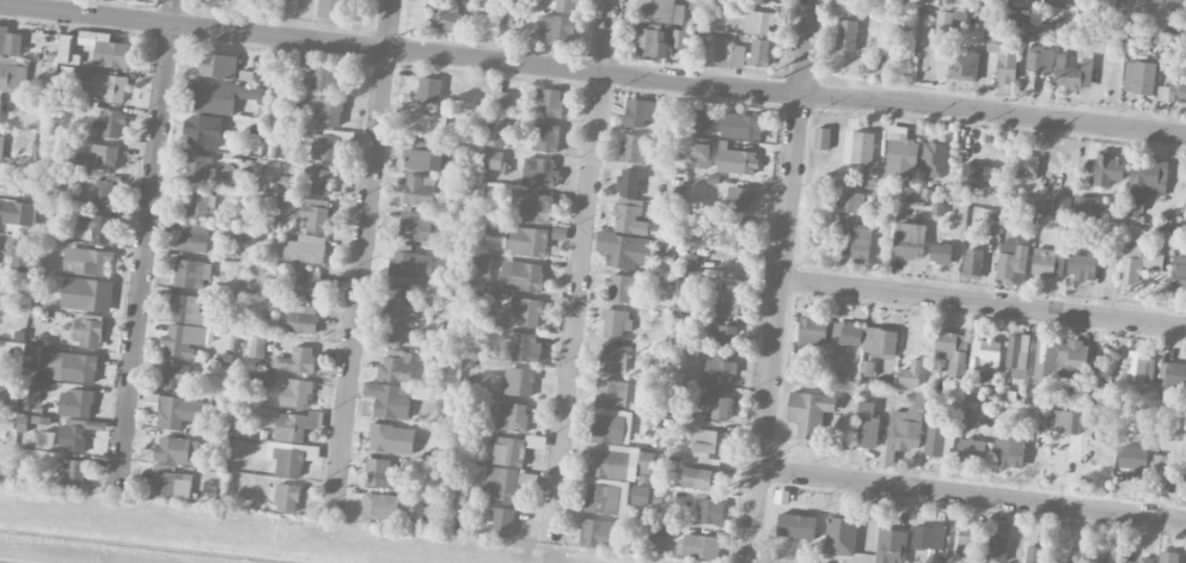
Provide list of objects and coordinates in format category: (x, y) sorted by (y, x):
building: (1170, 0)
building: (228, 1)
power tower: (153, 6)
building: (566, 6)
building: (331, 10)
building: (660, 11)
building: (447, 17)
building: (943, 22)
building: (758, 23)
building: (558, 30)
building: (1035, 30)
power tower: (402, 33)
building: (846, 36)
building: (10, 42)
building: (652, 43)
road: (806, 48)
road: (401, 49)
building: (67, 50)
building: (106, 50)
building: (758, 53)
power tower: (587, 55)
building: (1003, 55)
building: (738, 56)
building: (1039, 60)
building: (964, 66)
building: (218, 67)
building: (68, 73)
building: (1074, 73)
building: (12, 75)
power tower: (783, 77)
building: (1139, 78)
building: (324, 79)
building: (1027, 84)
building: (110, 88)
building: (1173, 88)
building: (428, 90)
building: (224, 97)
power tower: (1014, 99)
building: (501, 103)
building: (550, 103)
building: (640, 112)
road: (994, 112)
building: (703, 121)
building: (109, 124)
building: (430, 126)
building: (741, 126)
building: (202, 130)
building: (496, 130)
building: (545, 137)
building: (821, 139)
building: (1, 146)
building: (323, 147)
building: (858, 147)
building: (634, 148)
building: (38, 154)
building: (701, 155)
building: (100, 158)
building: (900, 158)
building: (933, 159)
building: (427, 160)
building: (494, 160)
building: (736, 160)
building: (1028, 167)
building: (197, 169)
building: (1107, 169)
building: (539, 173)
building: (979, 177)
building: (1148, 177)
building: (320, 178)
building: (630, 183)
building: (420, 190)
building: (98, 192)
building: (739, 198)
building: (200, 202)
building: (1063, 206)
building: (536, 208)
building: (1086, 208)
building: (314, 213)
building: (22, 214)
building: (630, 218)
building: (97, 226)
building: (414, 227)
building: (736, 232)
building: (194, 237)
building: (524, 239)
building: (907, 240)
building: (861, 244)
road: (143, 246)
road: (361, 249)
building: (306, 250)
building: (625, 250)
building: (22, 253)
building: (941, 255)
building: (1013, 258)
building: (1143, 259)
building: (91, 262)
building: (410, 263)
building: (481, 263)
building: (1049, 263)
building: (973, 264)
building: (1082, 267)
road: (581, 270)
building: (190, 274)
building: (1179, 275)
building: (522, 276)
building: (306, 286)
building: (625, 288)
building: (87, 294)
building: (689, 298)
building: (403, 299)
building: (729, 302)
road: (983, 304)
building: (188, 311)
building: (526, 312)
building: (298, 318)
building: (616, 323)
road: (774, 330)
building: (395, 331)
building: (813, 331)
building: (88, 332)
building: (846, 335)
building: (723, 336)
building: (183, 341)
building: (879, 342)
building: (257, 347)
building: (522, 347)
building: (952, 351)
building: (984, 354)
building: (1017, 356)
building: (613, 359)
building: (296, 360)
building: (1043, 360)
building: (1071, 360)
building: (62, 365)
building: (396, 367)
building: (720, 368)
building: (867, 368)
building: (1139, 368)
building: (176, 373)
building: (910, 374)
building: (1173, 374)
building: (261, 378)
building: (518, 381)
building: (18, 391)
building: (1098, 392)
building: (296, 393)
building: (611, 393)
building: (673, 397)
building: (389, 400)
building: (719, 403)
building: (75, 404)
building: (177, 410)
building: (808, 414)
building: (513, 417)
building: (1065, 422)
building: (295, 426)
building: (612, 427)
building: (867, 427)
building: (906, 428)
building: (77, 434)
building: (392, 439)
building: (45, 440)
building: (936, 440)
building: (710, 441)
building: (1010, 448)
building: (177, 449)
building: (976, 451)
building: (508, 452)
building: (286, 459)
building: (618, 461)
building: (1135, 461)
building: (74, 473)
building: (1161, 473)
building: (383, 475)
building: (704, 476)
building: (1185, 483)
building: (170, 484)
building: (503, 484)
building: (640, 495)
road: (972, 496)
building: (286, 498)
building: (603, 498)
building: (380, 508)
building: (710, 513)
building: (502, 521)
building: (796, 526)
building: (597, 534)
building: (840, 537)
building: (928, 537)
building: (967, 544)
building: (698, 546)
building: (891, 546)
building: (997, 549)
building: (1104, 551)
building: (1034, 555)
building: (1168, 557)
building: (1145, 559)

